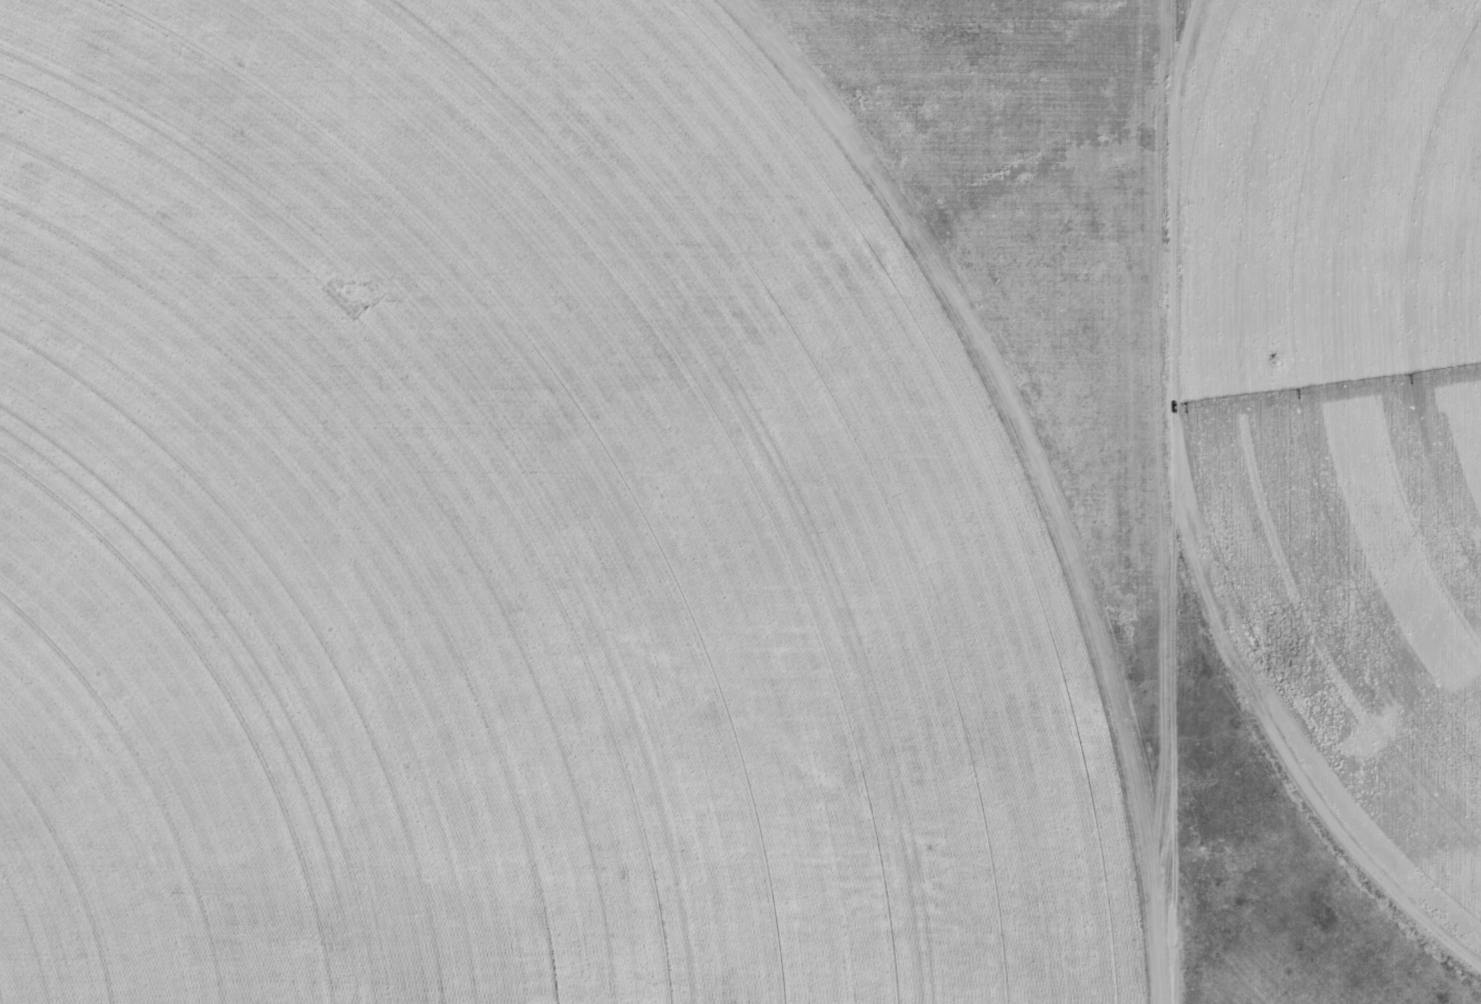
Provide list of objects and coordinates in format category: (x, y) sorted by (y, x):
road: (1188, 502)

